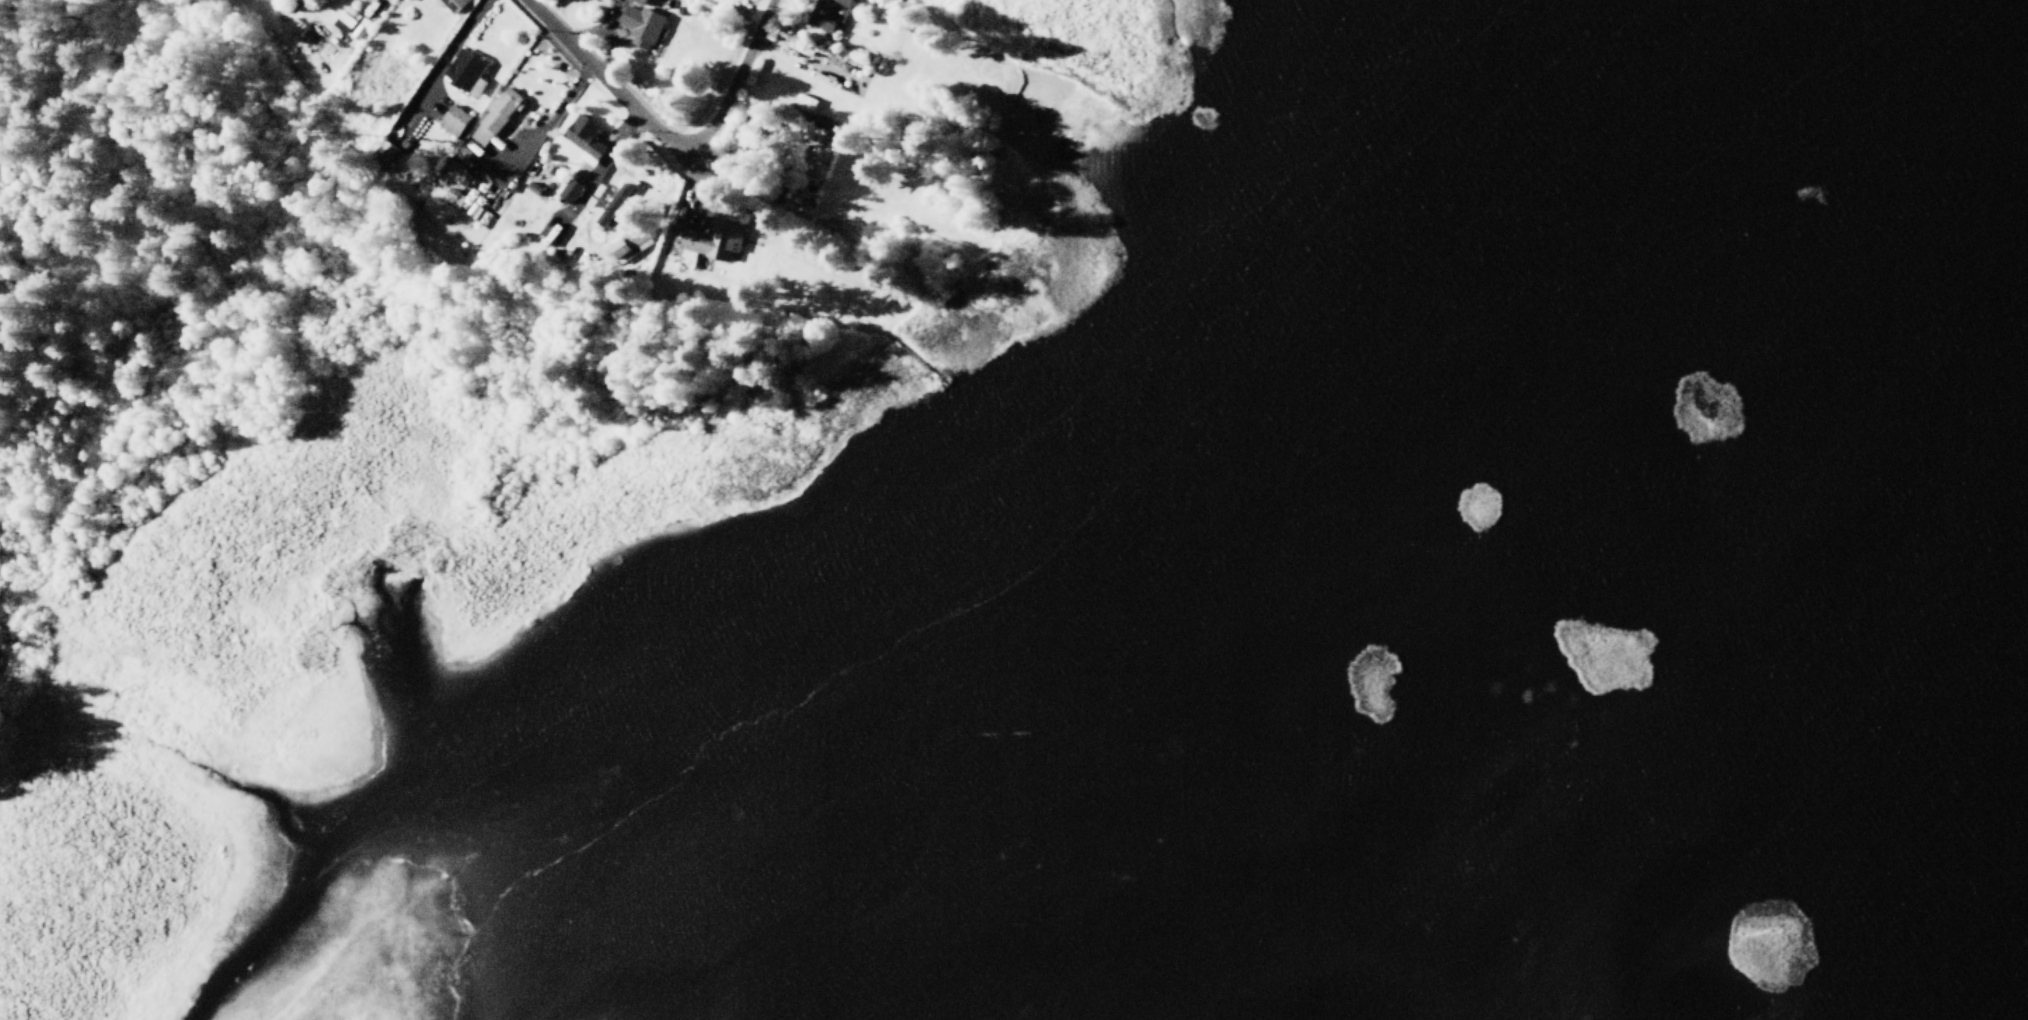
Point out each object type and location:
building: (454, 3)
building: (827, 13)
building: (637, 22)
building: (360, 27)
road: (591, 27)
road: (457, 37)
building: (467, 71)
road: (735, 84)
road: (984, 95)
road: (626, 98)
road: (240, 103)
pier: (1026, 109)
building: (494, 117)
building: (455, 120)
road: (548, 120)
building: (818, 128)
building: (586, 138)
road: (614, 148)
building: (385, 151)
road: (1004, 165)
building: (454, 173)
building: (534, 187)
road: (745, 187)
building: (571, 190)
building: (454, 196)
building: (821, 202)
building: (610, 203)
building: (712, 241)
building: (630, 242)
pier: (913, 358)
road: (687, 416)
road: (45, 496)
road: (49, 590)
road: (21, 601)
road: (14, 619)

